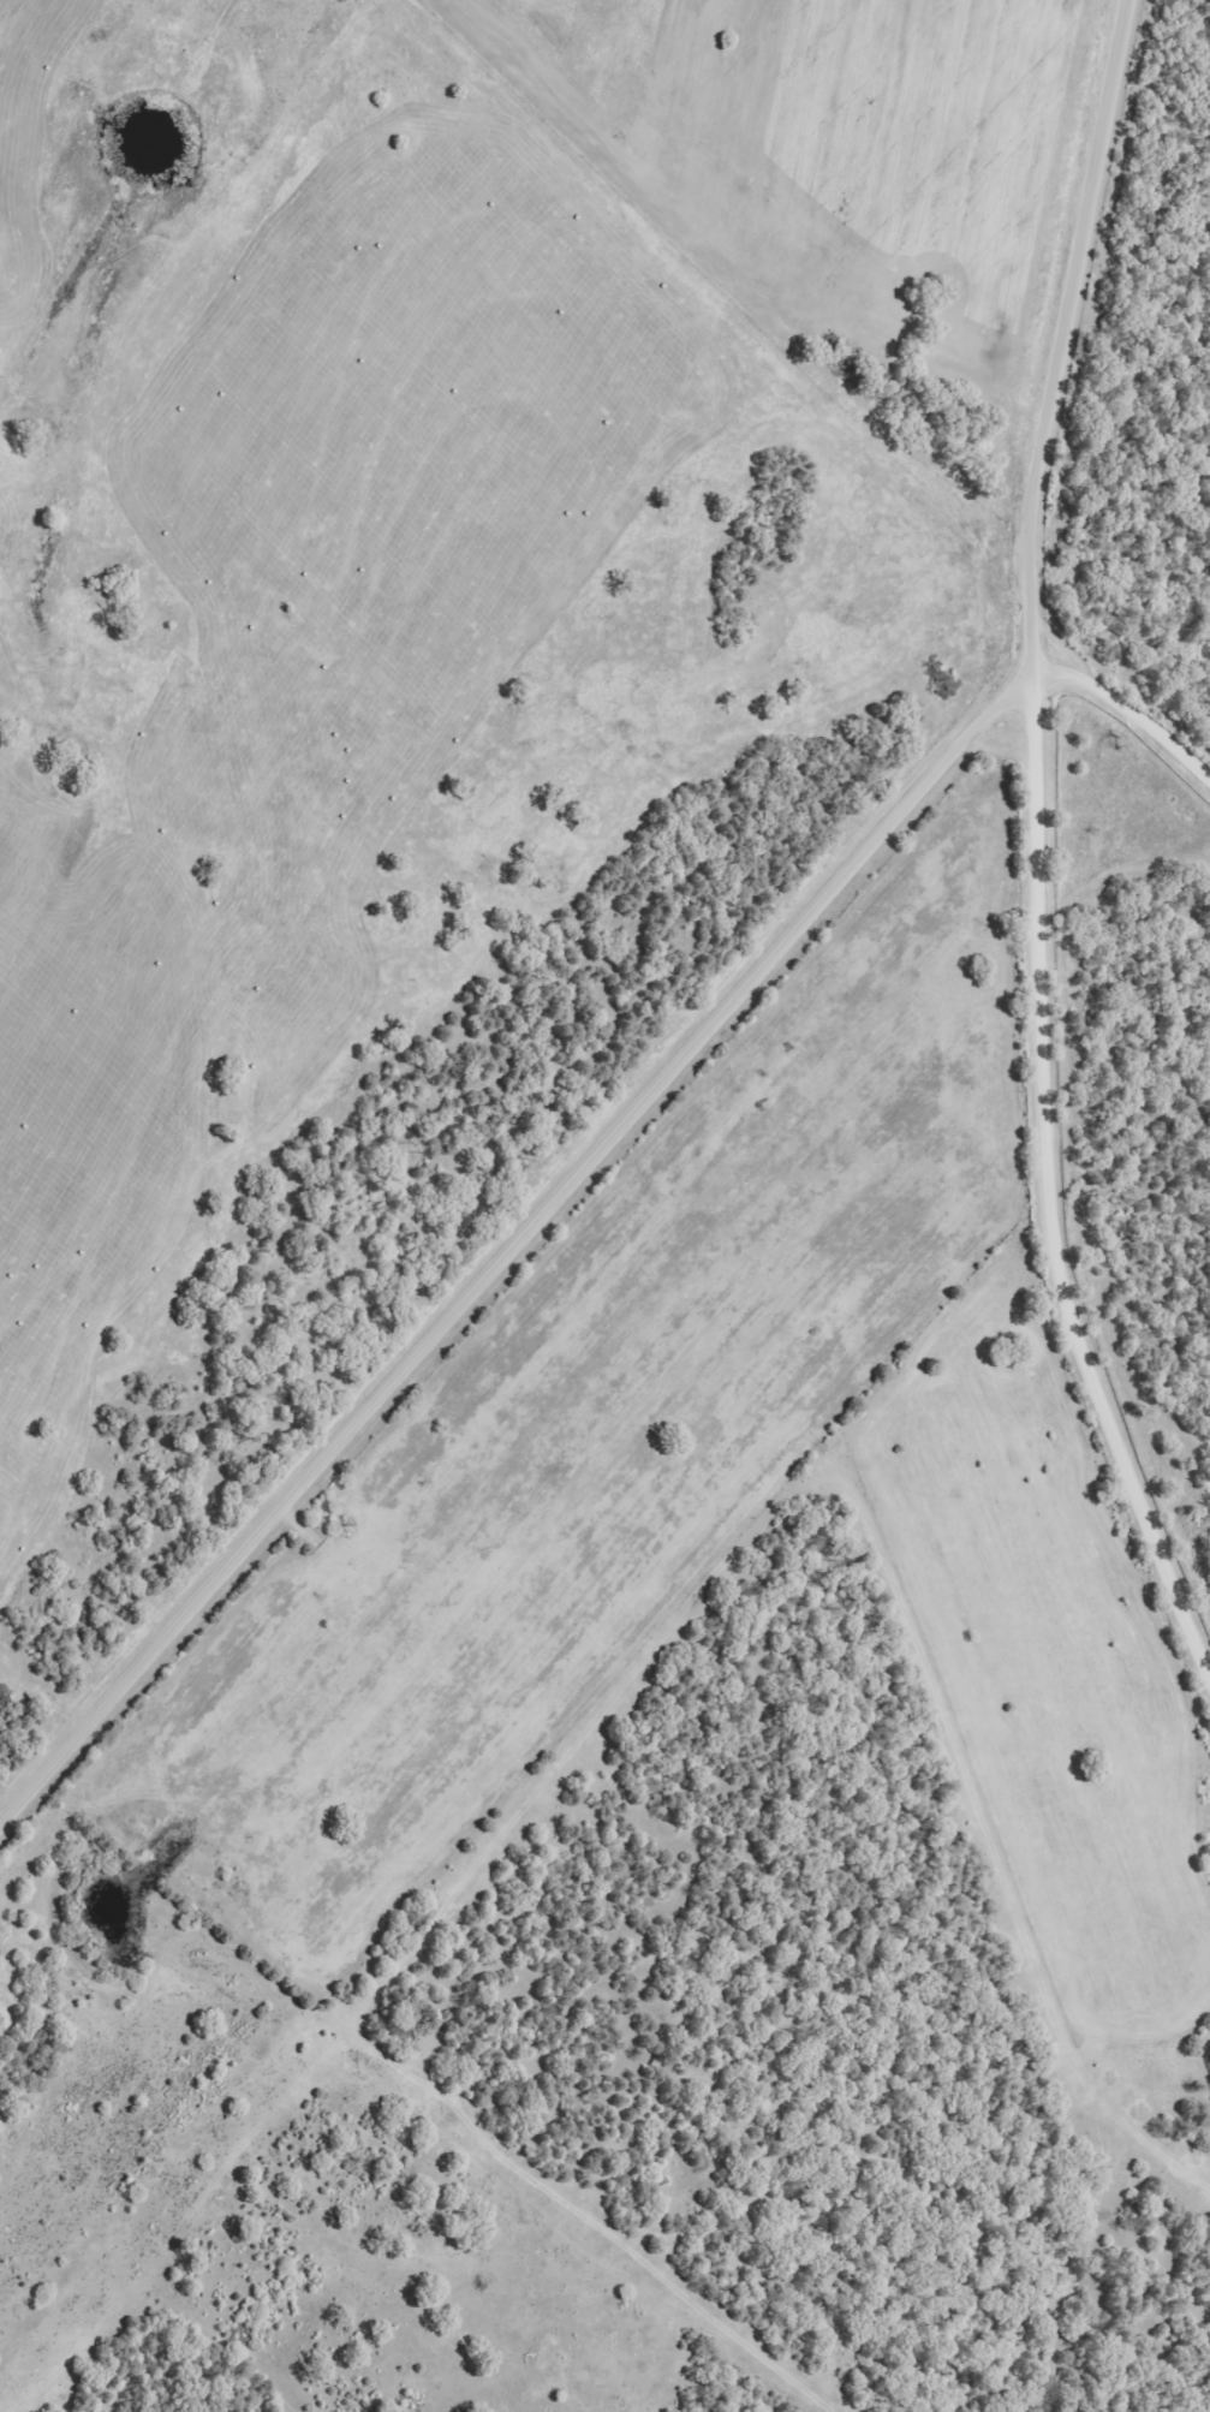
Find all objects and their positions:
road: (1154, 166)
road: (1129, 709)
road: (1039, 847)
road: (513, 1241)

